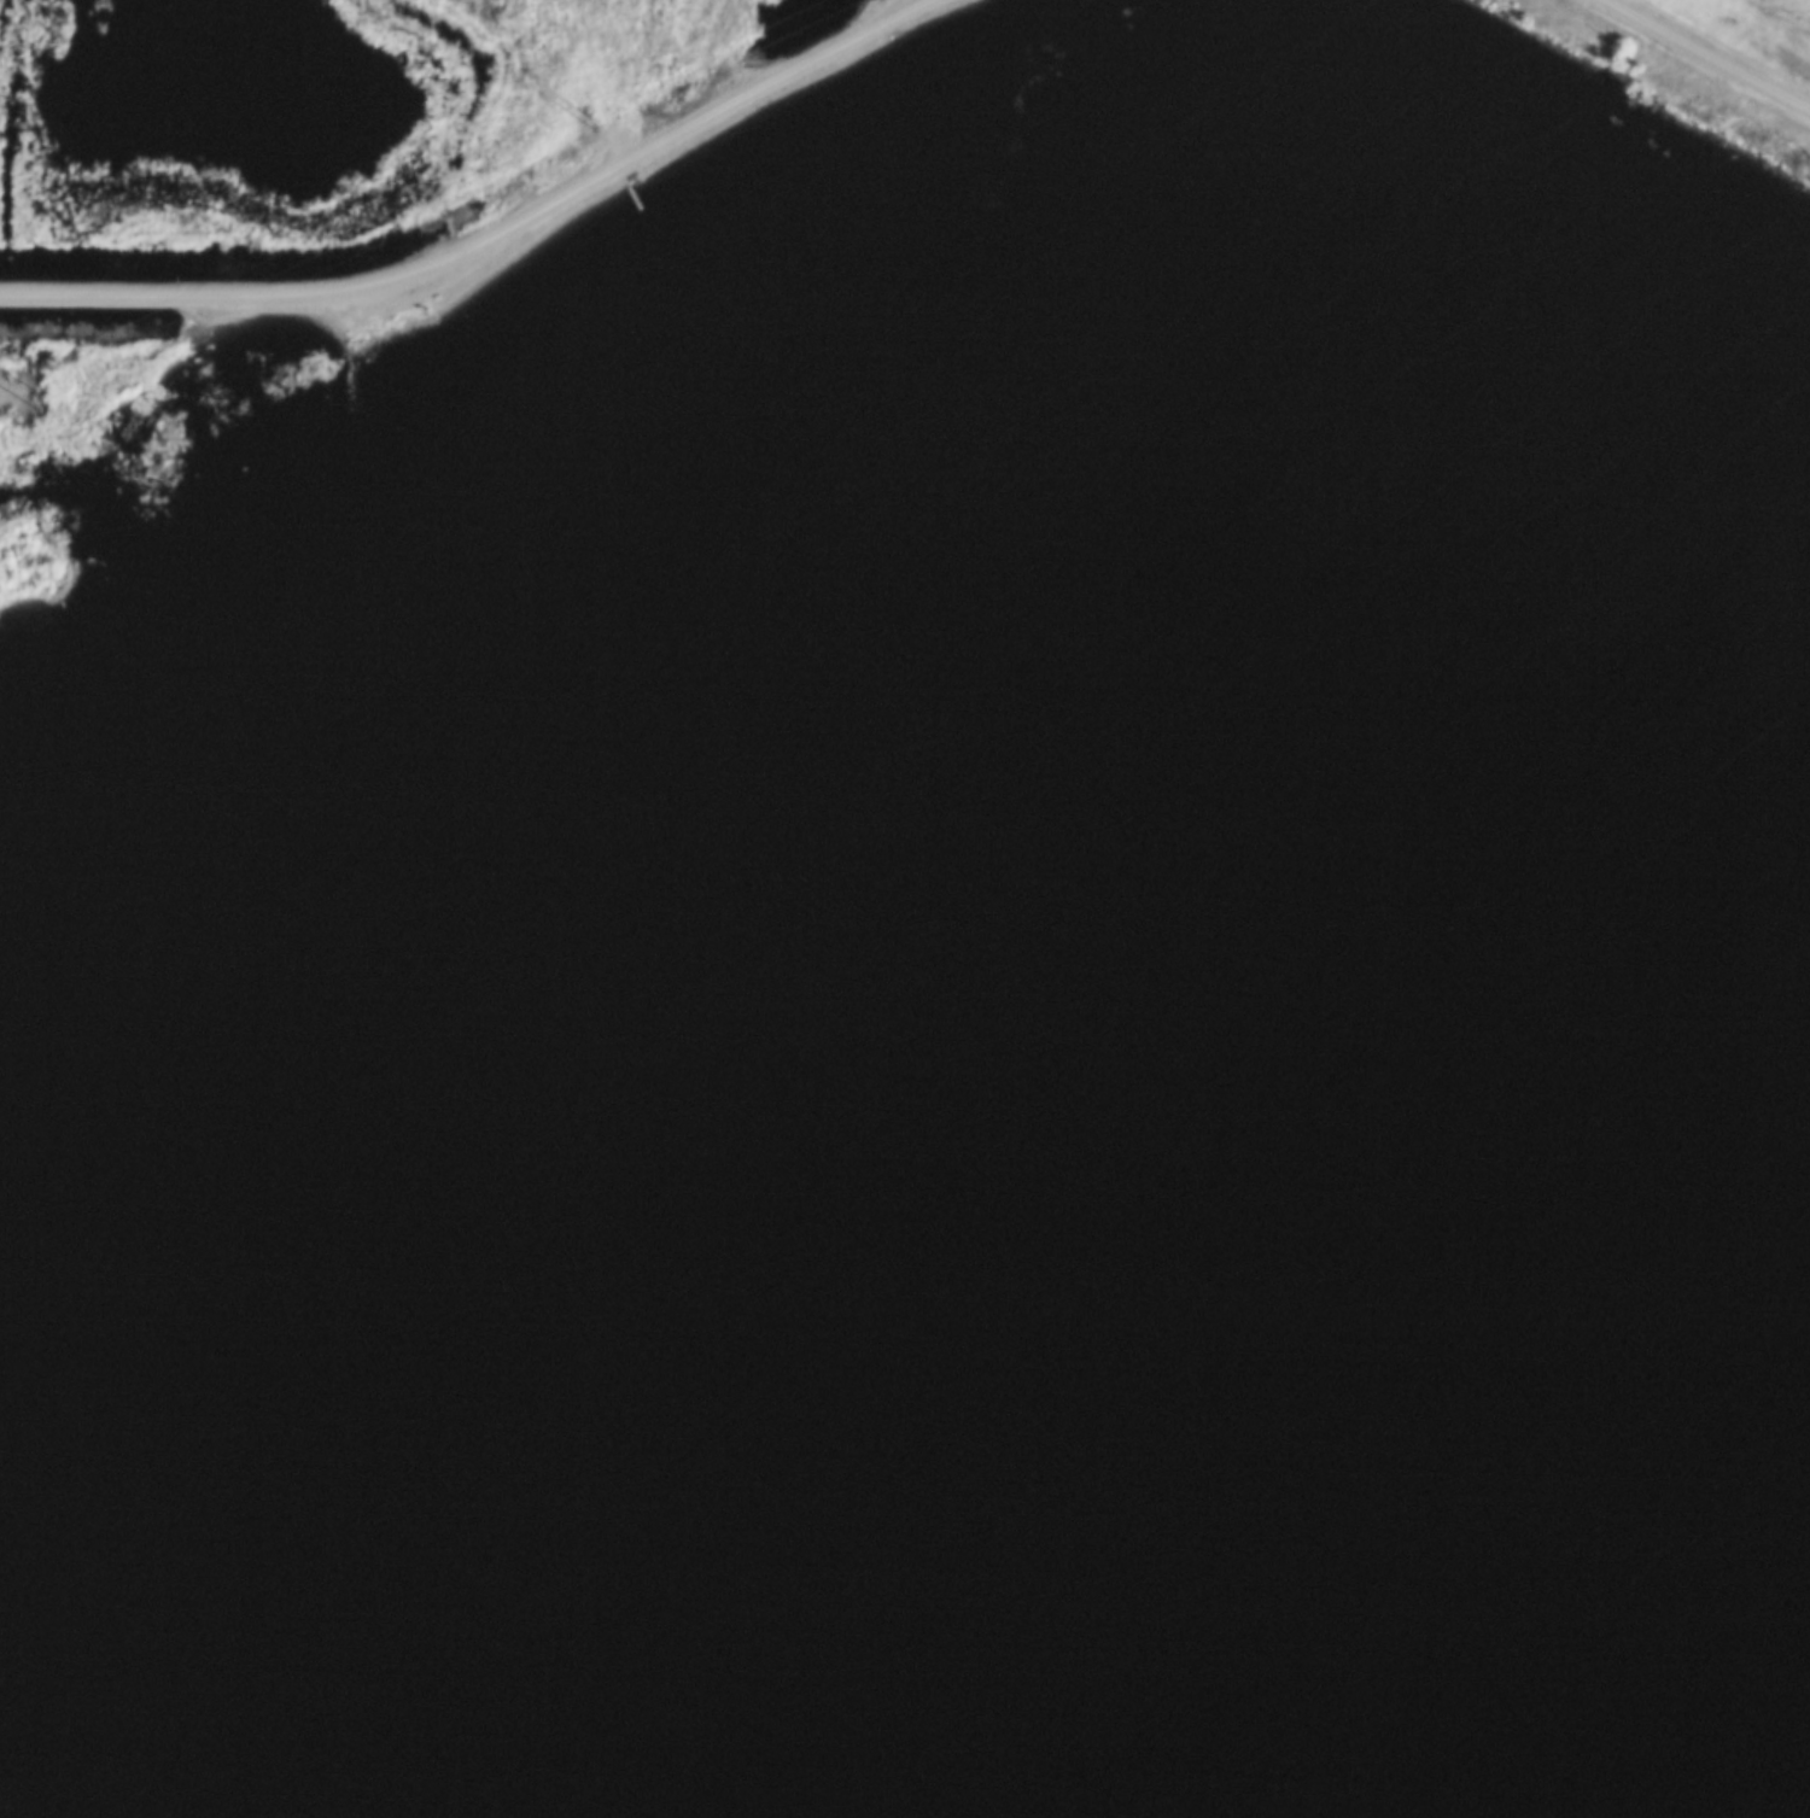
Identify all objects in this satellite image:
road: (1705, 54)
power tower: (589, 119)
road: (497, 238)
power tower: (30, 381)

